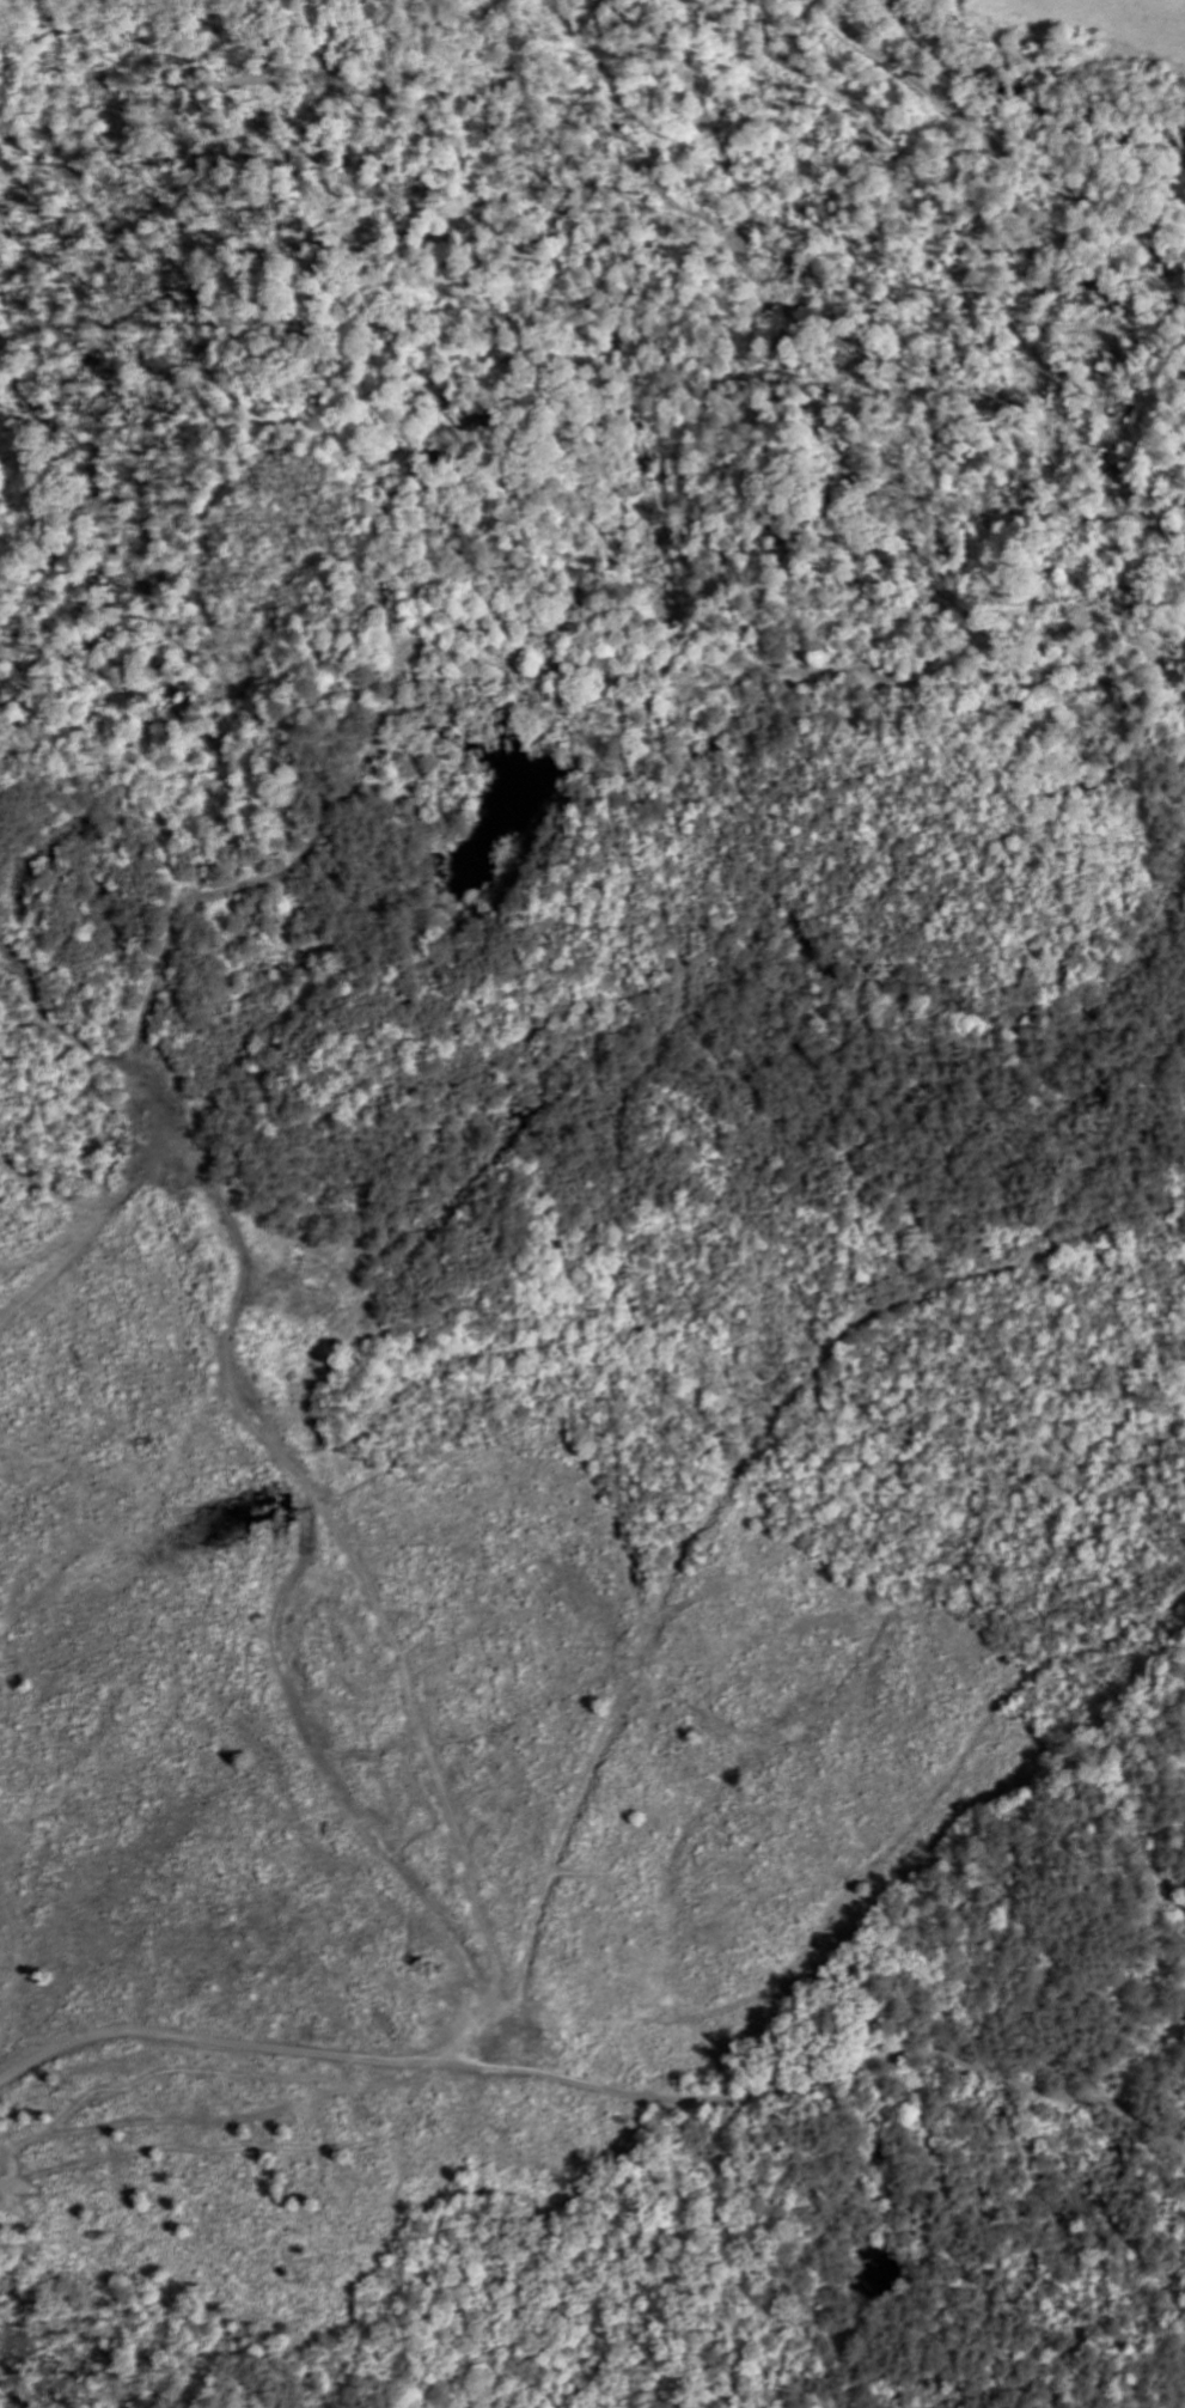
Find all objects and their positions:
road: (987, 139)
road: (480, 1165)
road: (255, 1402)
road: (129, 1512)
road: (667, 1595)
road: (597, 2084)

